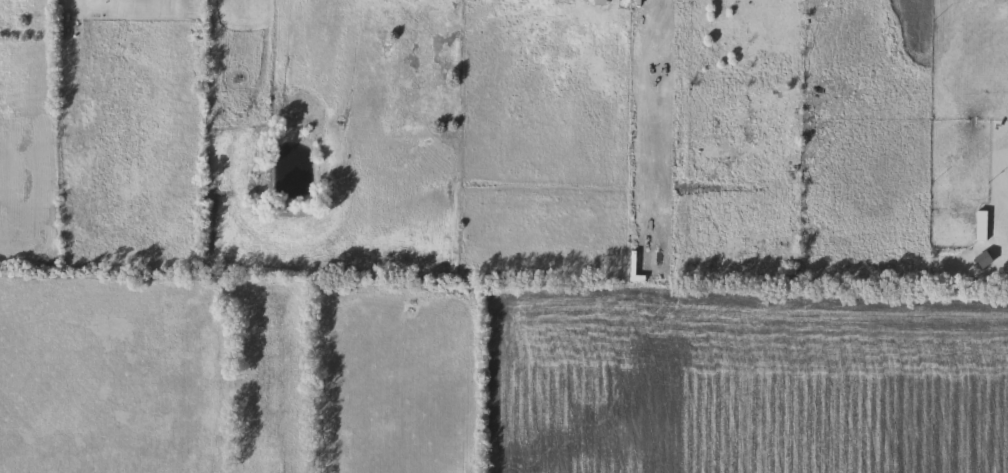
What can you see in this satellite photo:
building: (94, 0)
building: (600, 3)
building: (980, 229)
crop: (752, 388)

